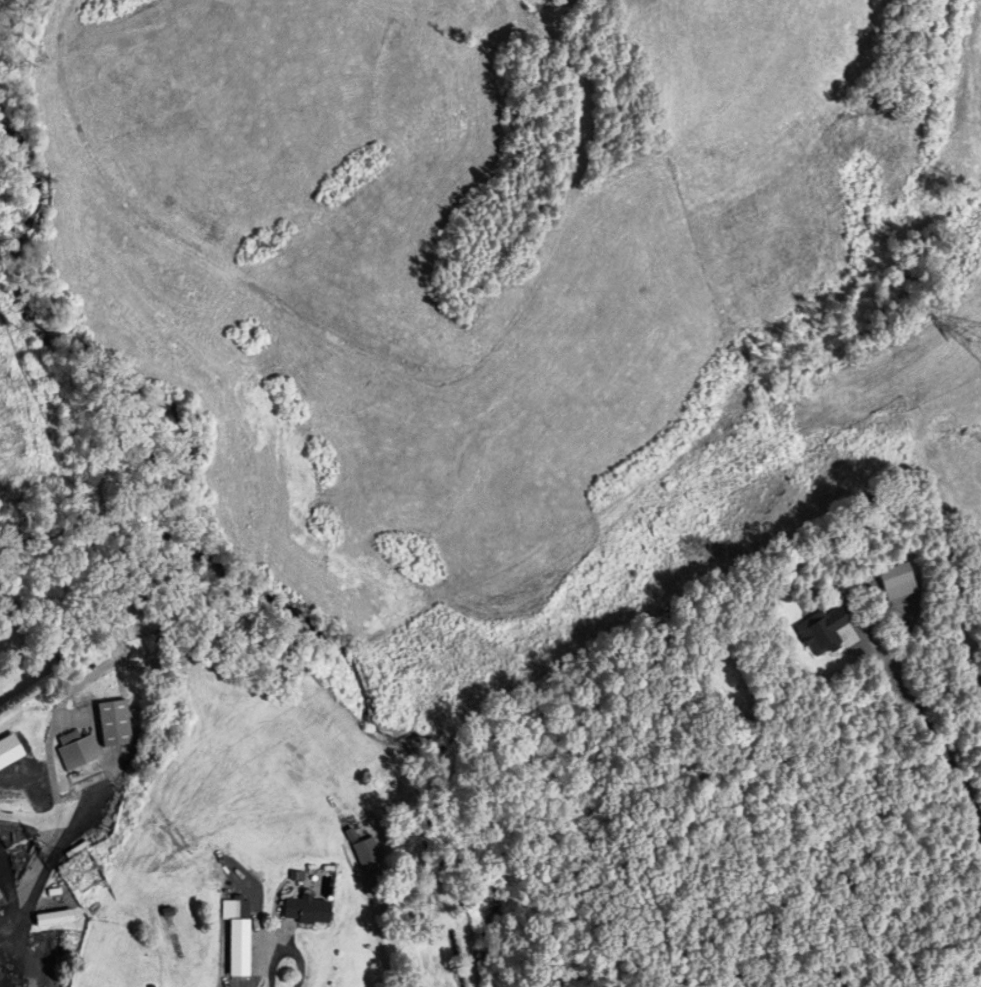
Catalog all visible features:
building: (897, 582)
building: (827, 633)
building: (115, 724)
road: (934, 740)
building: (79, 752)
building: (367, 852)
road: (52, 859)
power tower: (86, 875)
building: (308, 911)
road: (380, 940)
building: (240, 949)
road: (286, 950)

